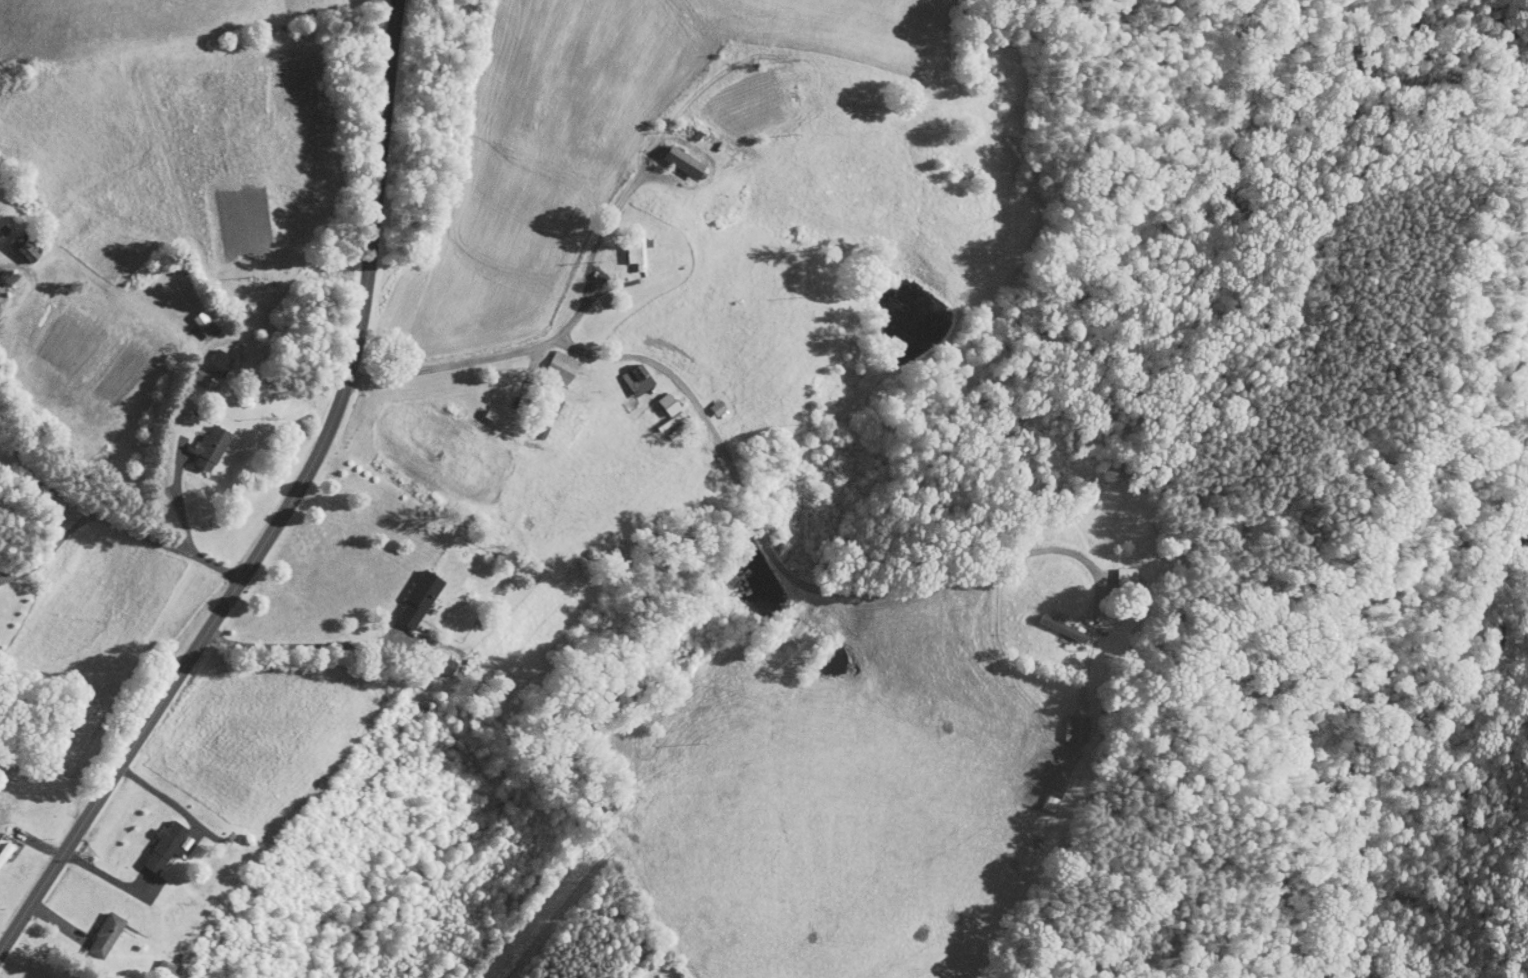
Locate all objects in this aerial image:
building: (675, 155)
building: (19, 245)
building: (627, 250)
road: (4, 261)
building: (196, 317)
road: (571, 323)
building: (210, 357)
building: (554, 358)
building: (628, 373)
road: (180, 396)
building: (660, 404)
building: (201, 441)
road: (178, 494)
road: (286, 509)
road: (103, 515)
road: (52, 551)
building: (1117, 567)
road: (834, 589)
building: (410, 591)
building: (1053, 620)
road: (311, 643)
building: (1074, 721)
building: (1040, 796)
road: (169, 800)
road: (192, 835)
building: (156, 838)
road: (109, 875)
building: (97, 928)

